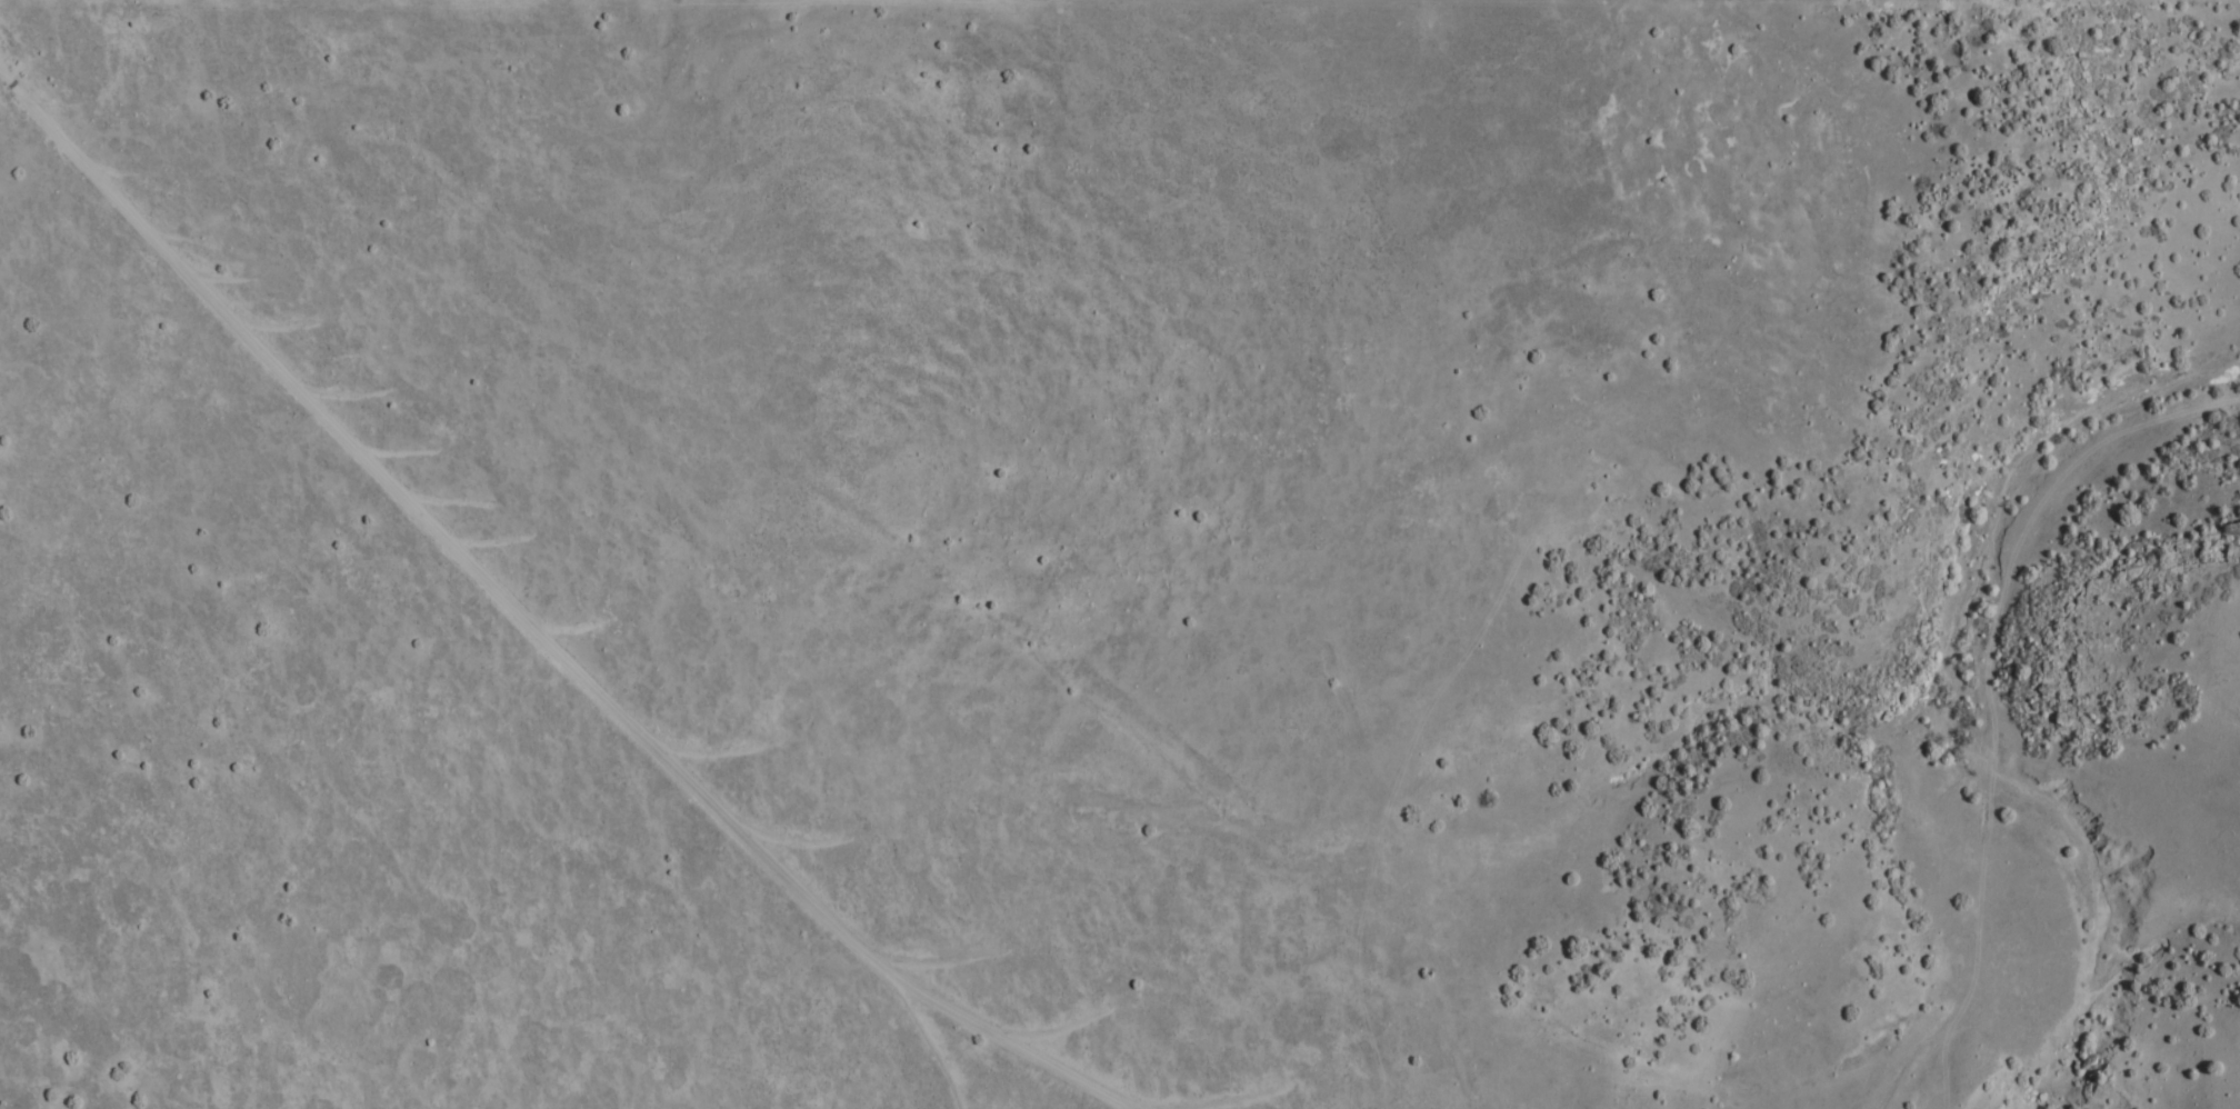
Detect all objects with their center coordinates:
road: (504, 671)

